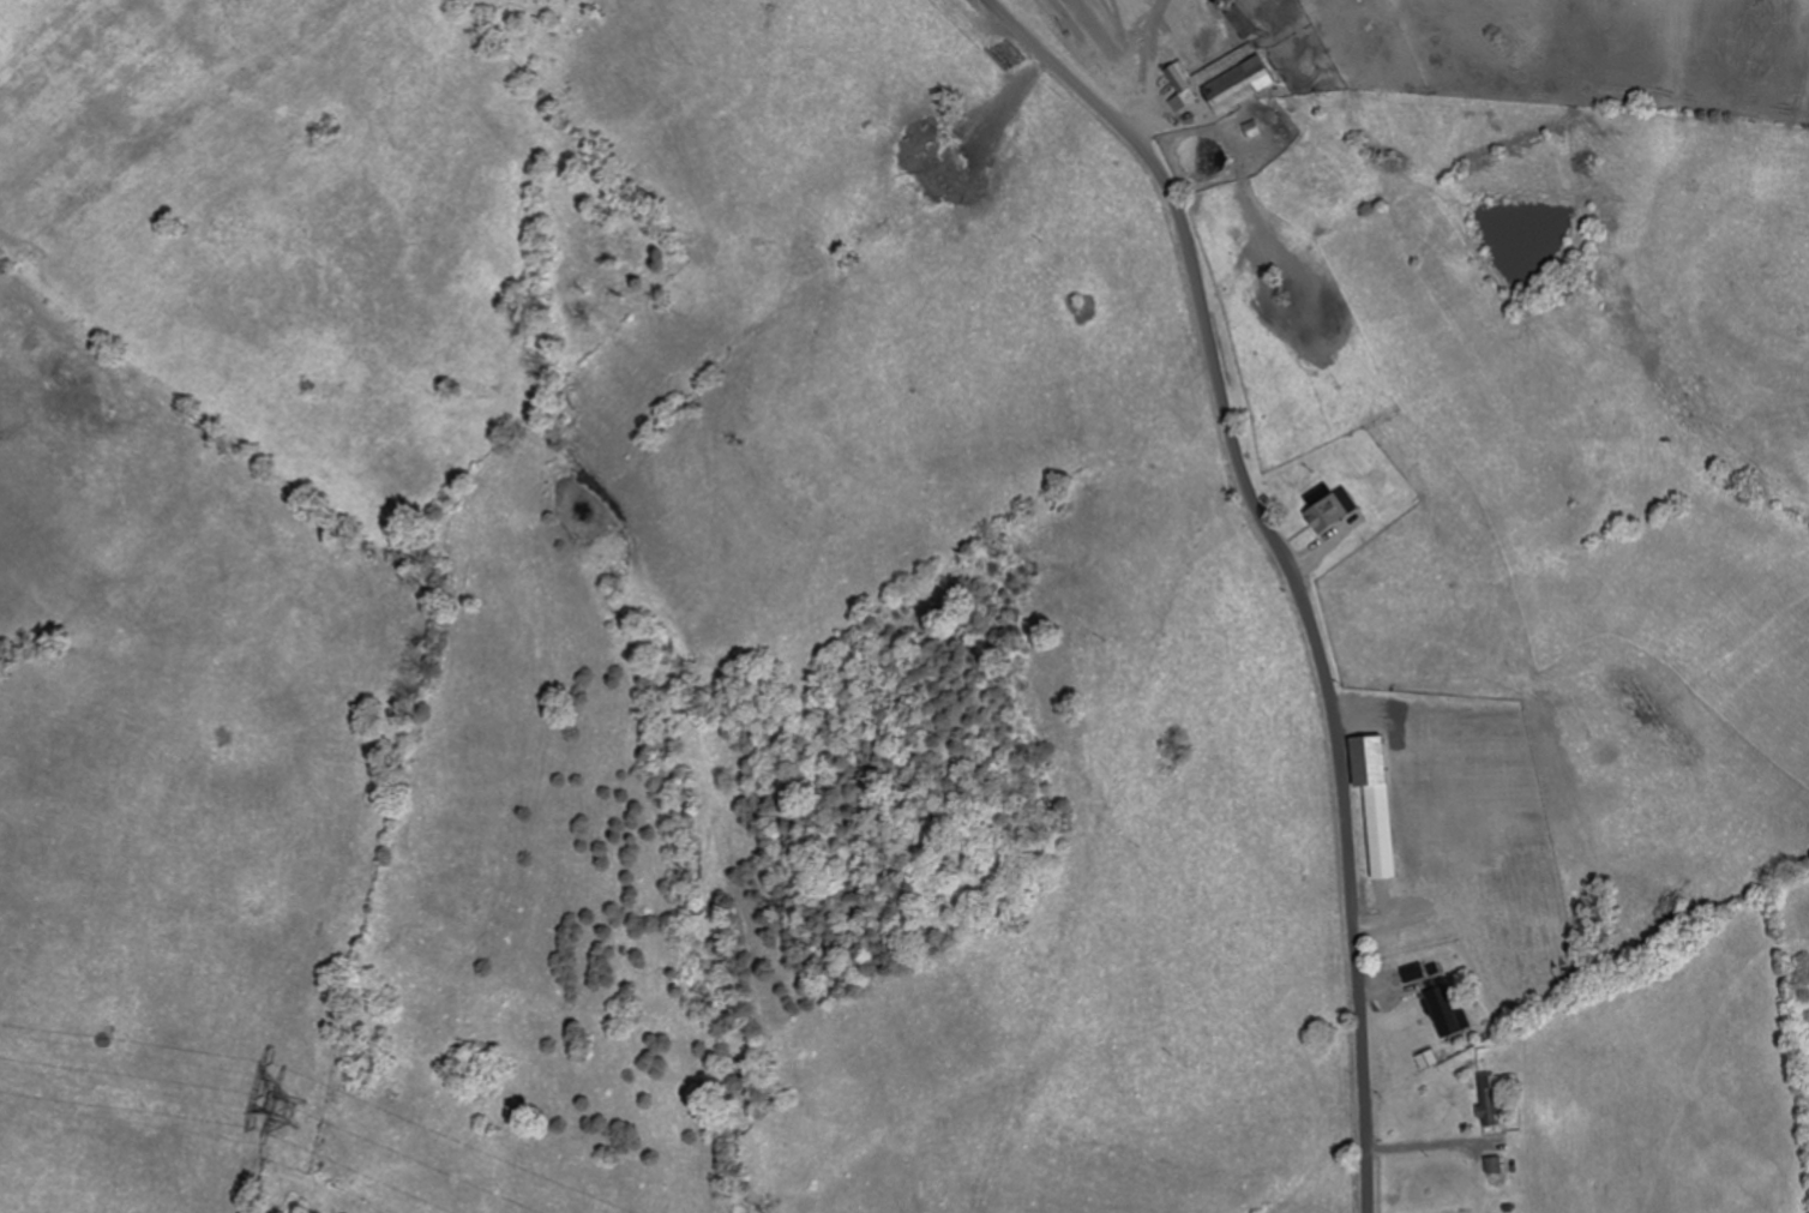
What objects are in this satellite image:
building: (1243, 24)
building: (1230, 79)
building: (1329, 515)
road: (1285, 564)
building: (1372, 764)
building: (1413, 973)
building: (1444, 1013)
building: (1490, 1098)
power tower: (303, 1117)
building: (1495, 1170)

